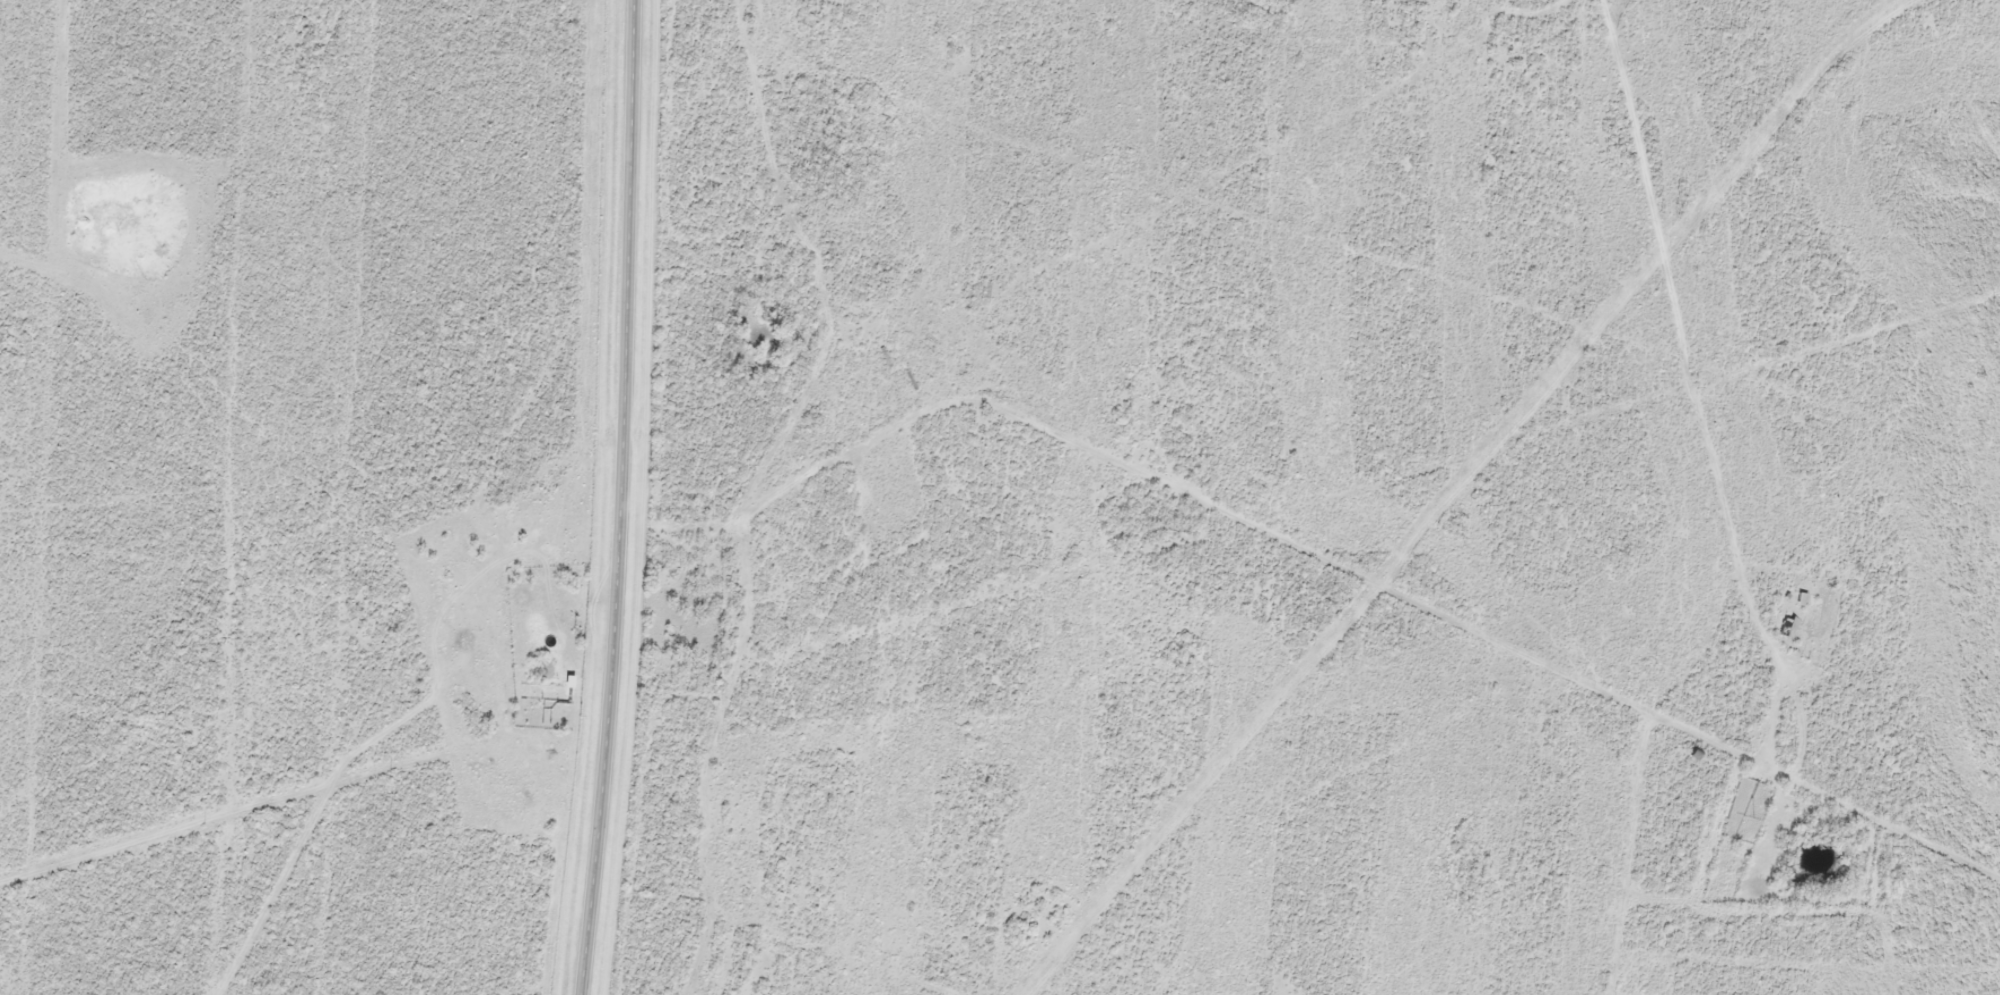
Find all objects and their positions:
road: (621, 498)
road: (1317, 556)

